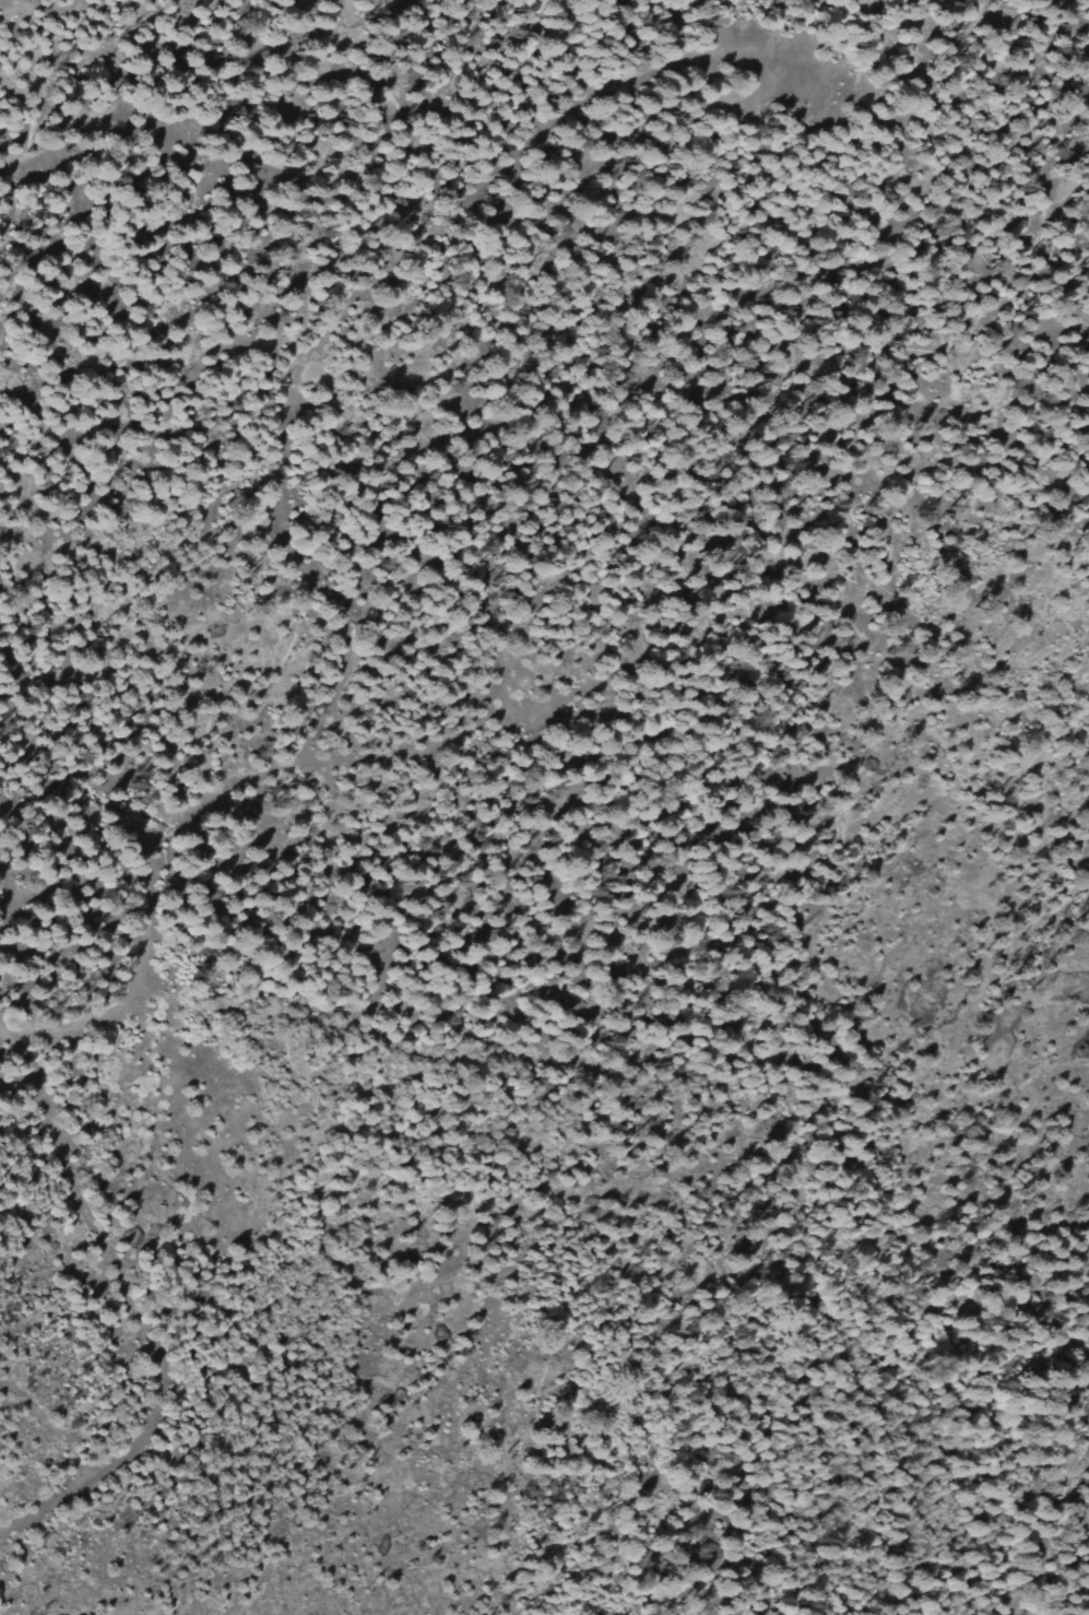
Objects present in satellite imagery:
road: (472, 1086)
road: (144, 1352)

